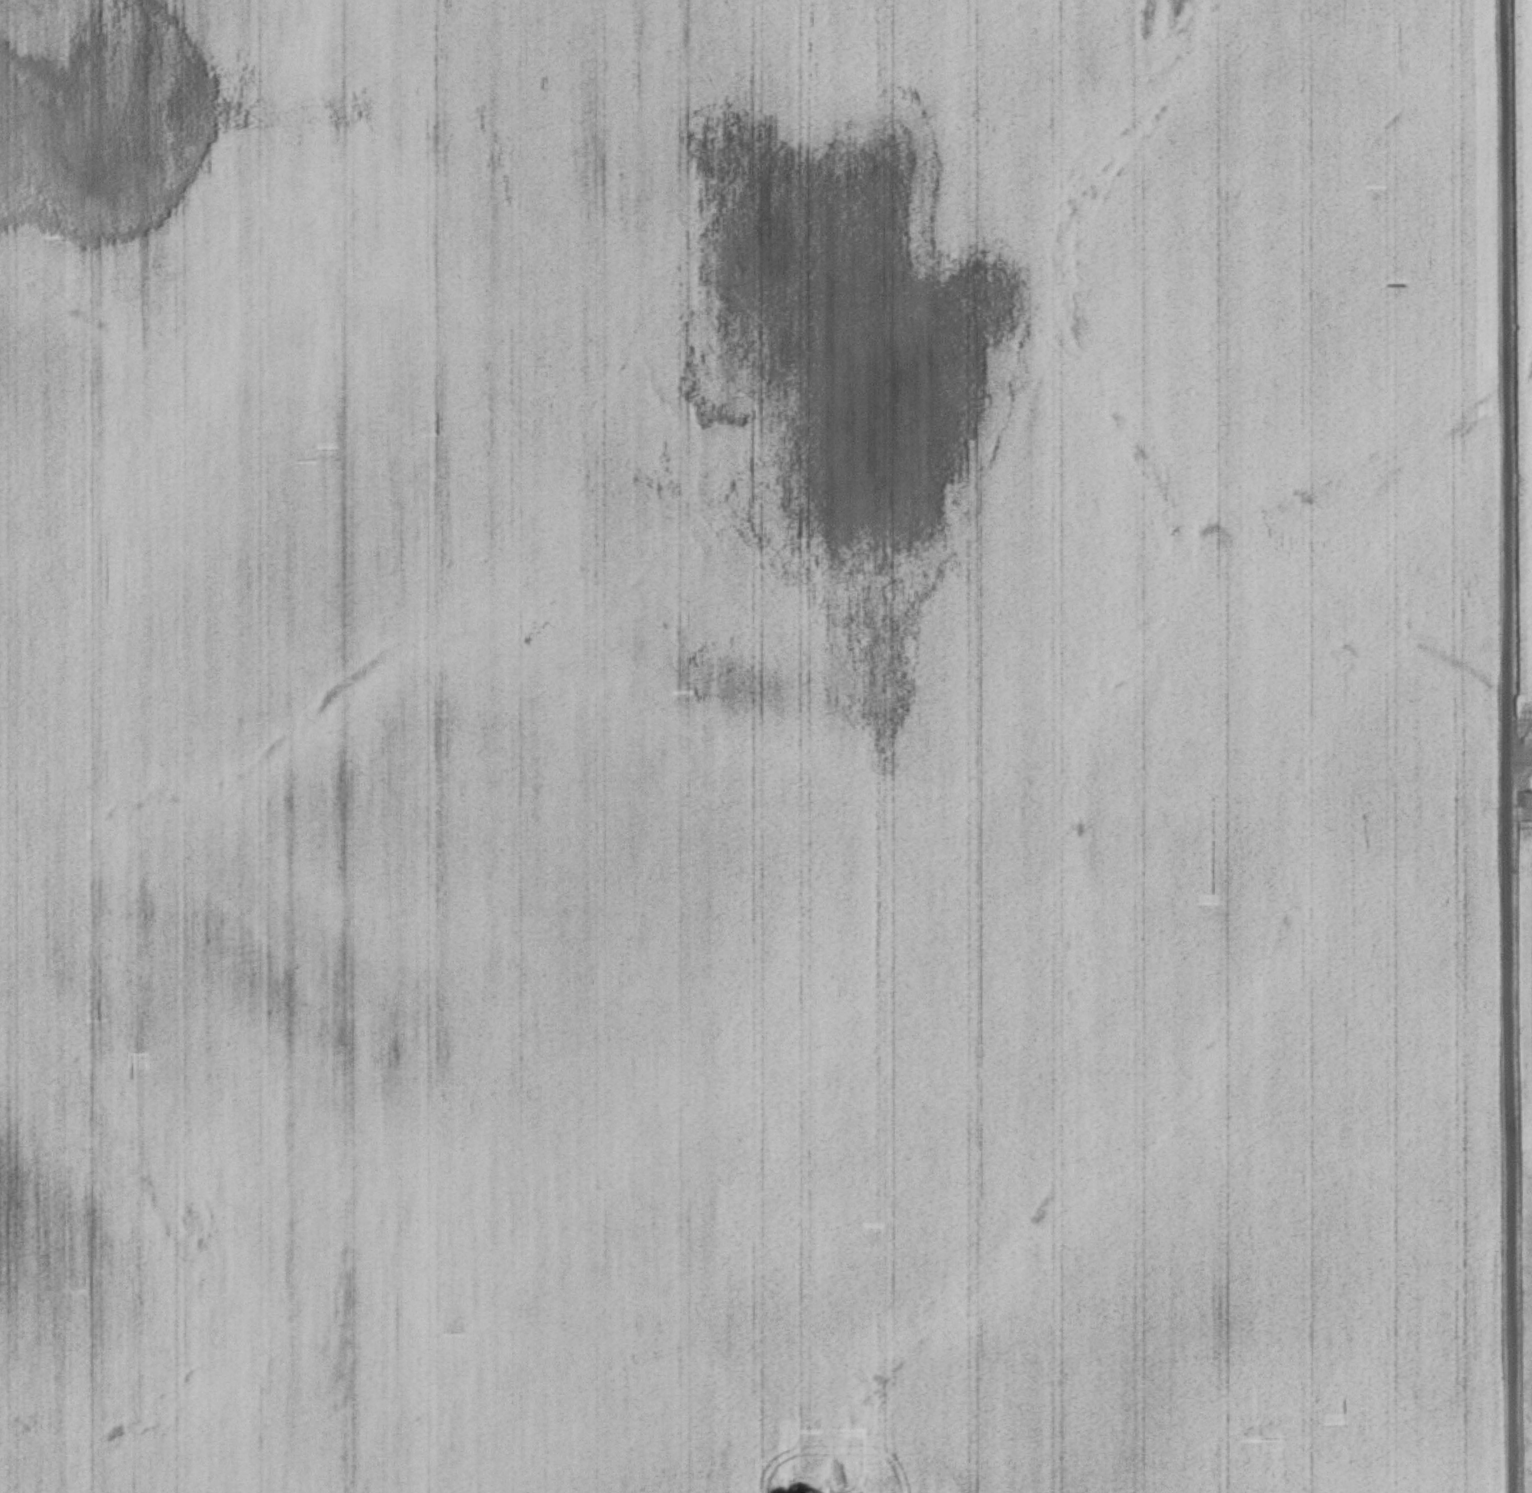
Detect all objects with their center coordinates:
crop: (1525, 369)
road: (1503, 746)
crop: (748, 747)
crop: (1526, 1118)

